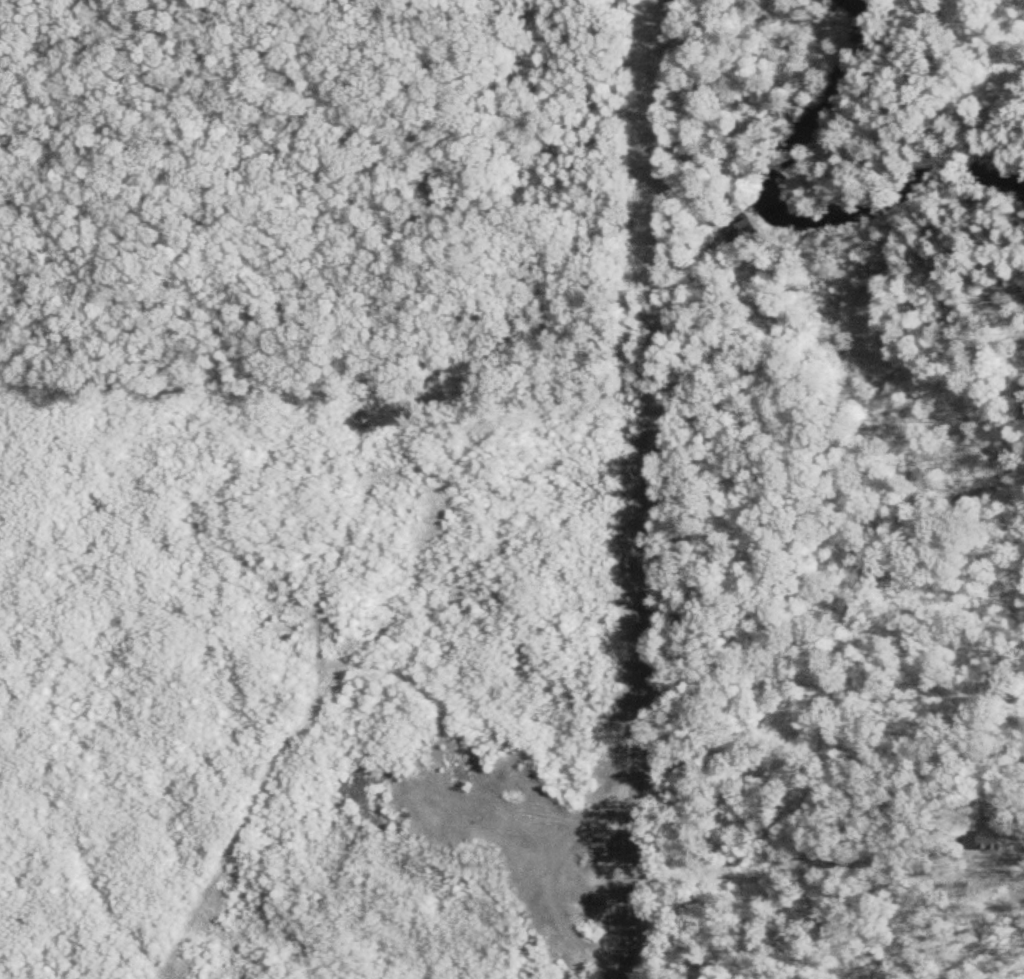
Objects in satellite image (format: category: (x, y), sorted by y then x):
river: (808, 200)
building: (743, 231)
road: (644, 489)
building: (995, 829)

